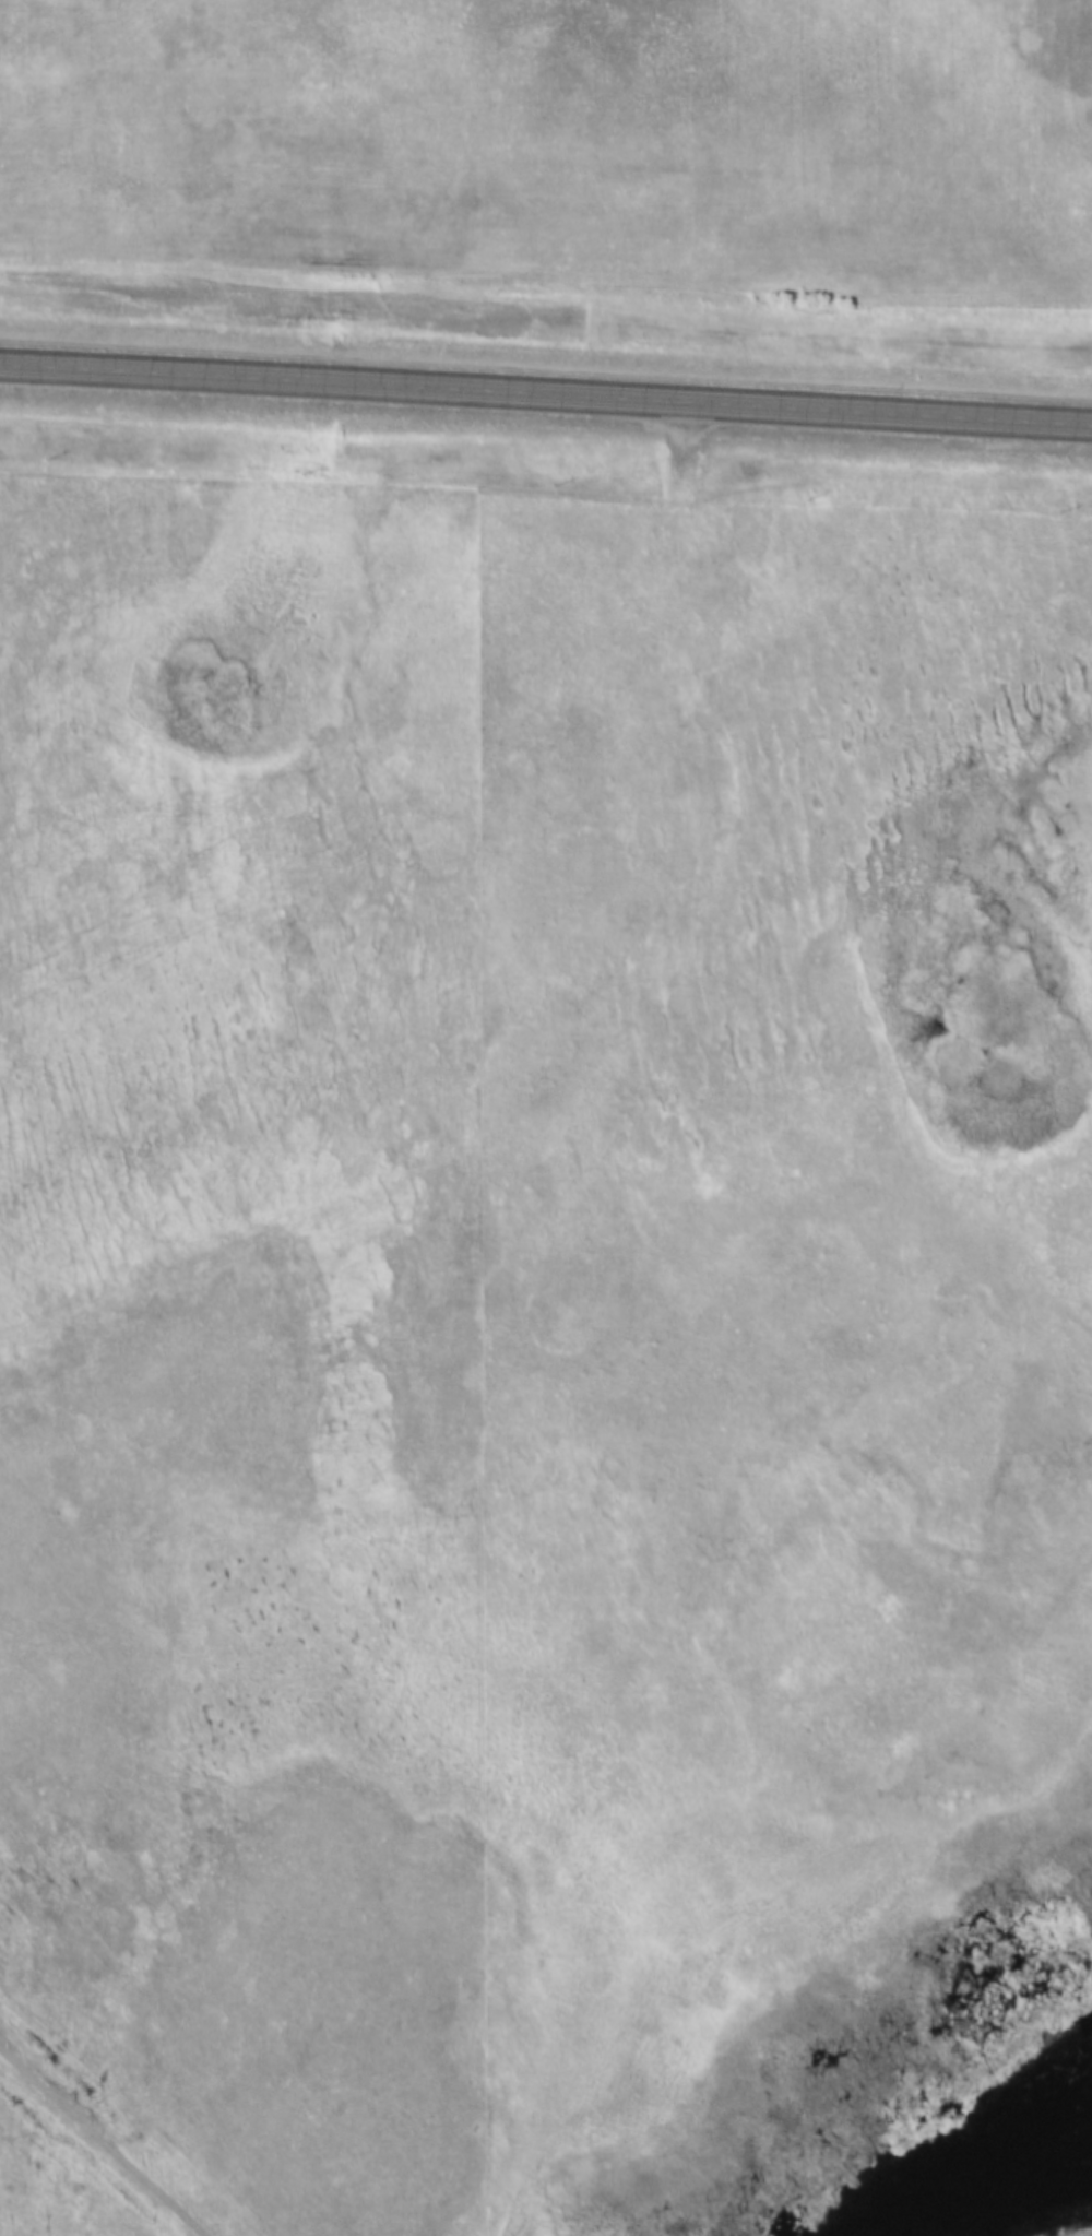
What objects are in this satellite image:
road: (545, 388)

